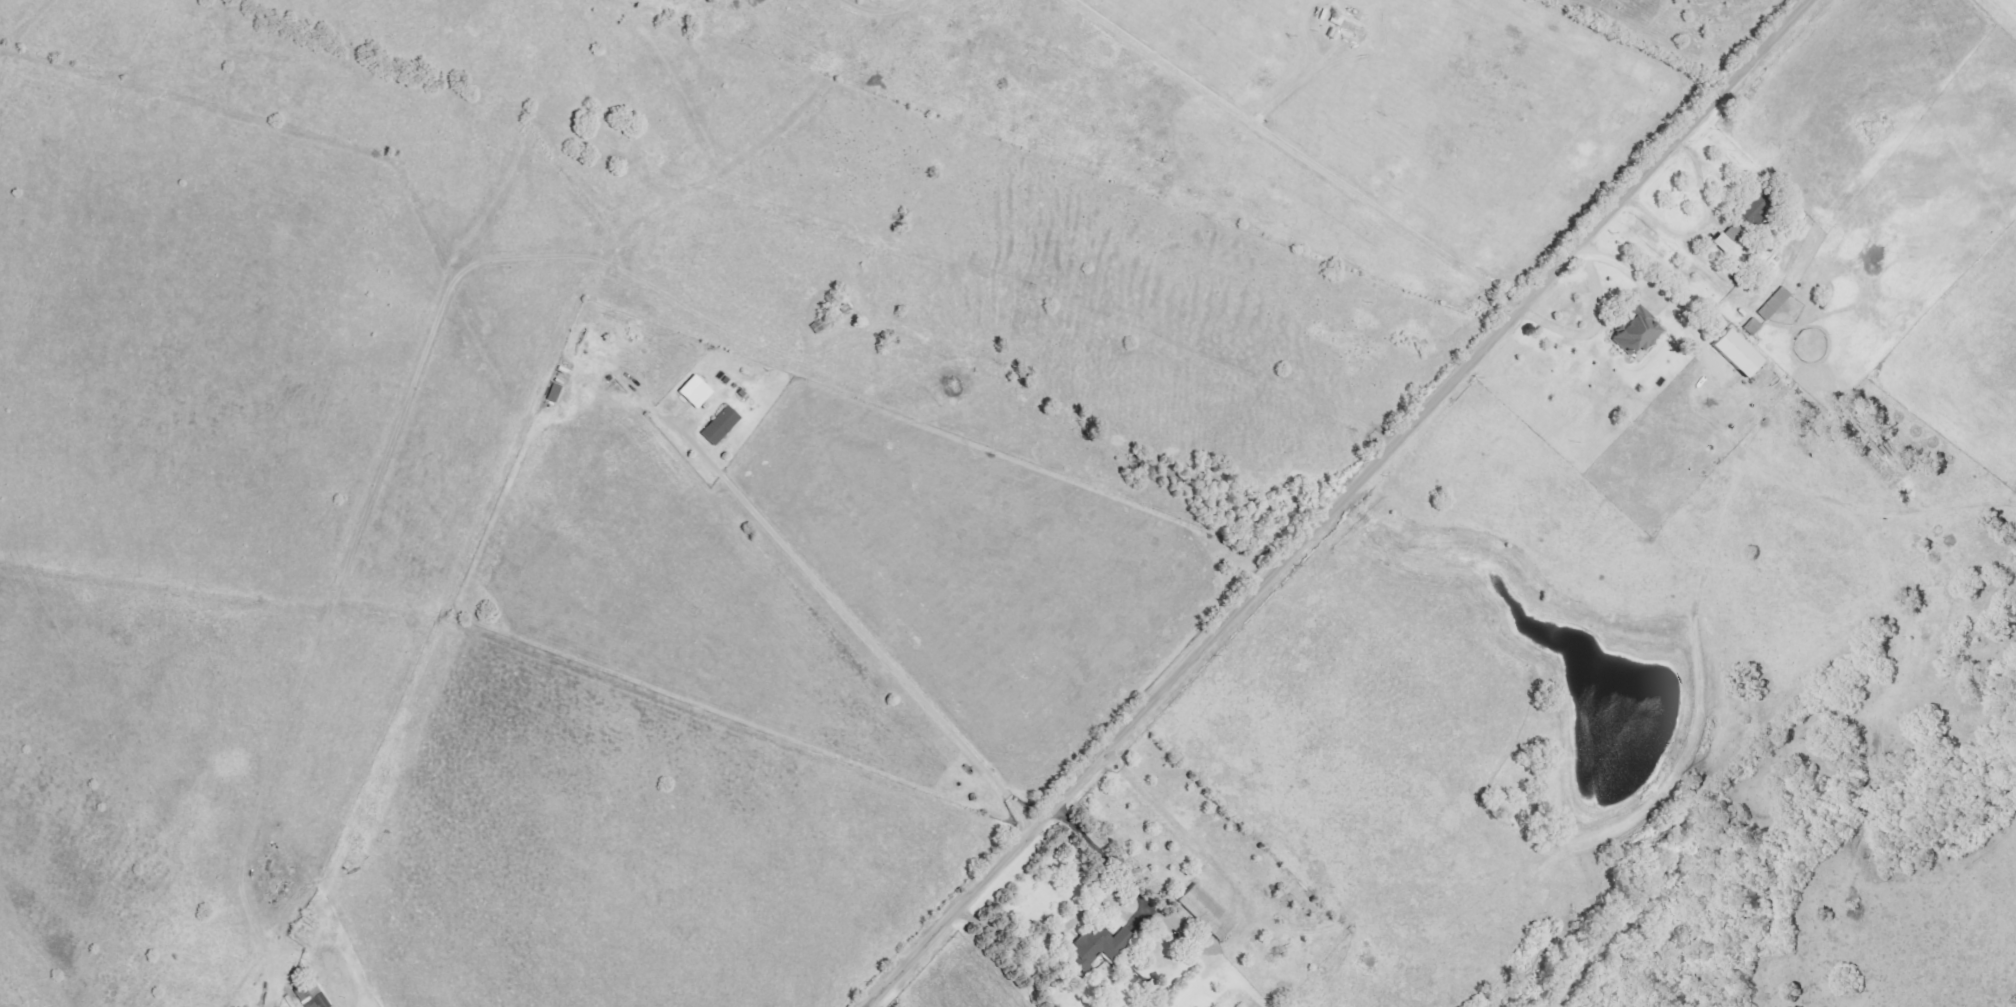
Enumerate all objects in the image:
road: (1298, 155)
building: (1750, 209)
road: (1702, 226)
building: (1726, 237)
building: (1773, 303)
building: (1751, 326)
road: (1596, 330)
building: (1634, 335)
building: (1733, 358)
building: (693, 392)
building: (716, 426)
road: (1341, 504)
road: (866, 641)
road: (1110, 903)
building: (1205, 912)
building: (1088, 946)
building: (311, 998)

